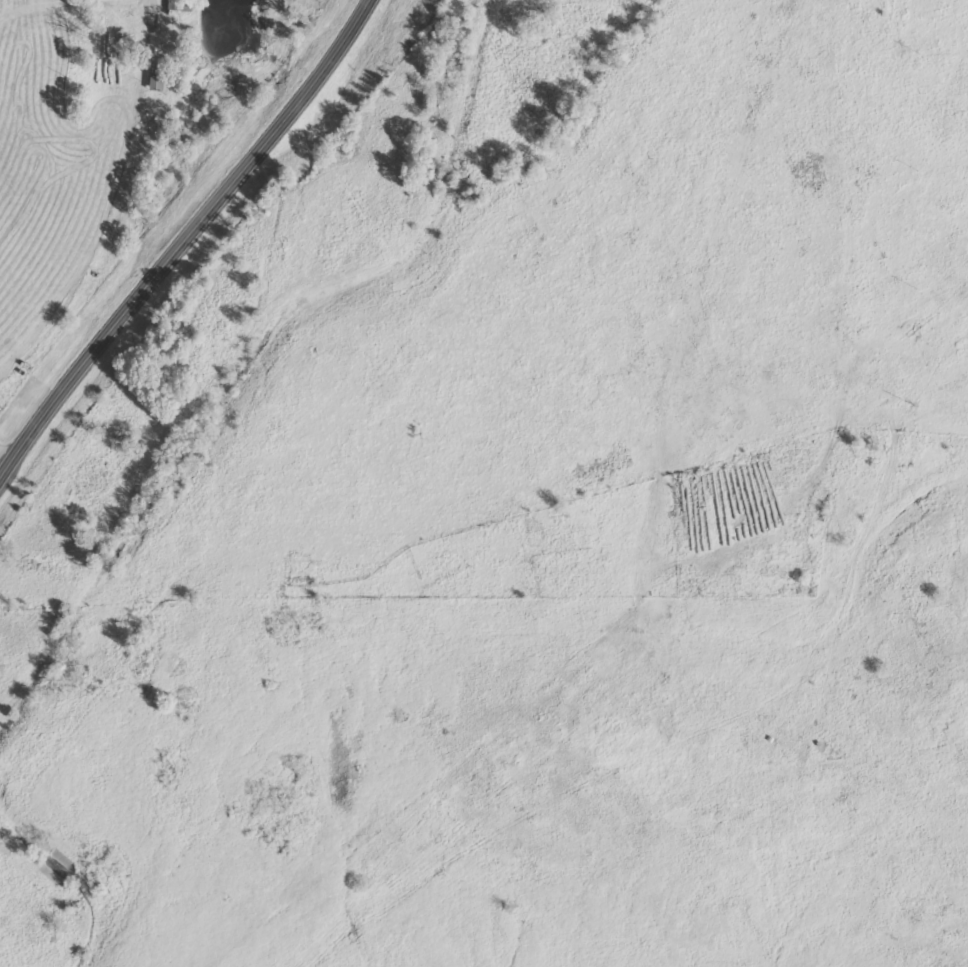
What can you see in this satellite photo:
building: (161, 80)
road: (484, 149)
road: (180, 239)

